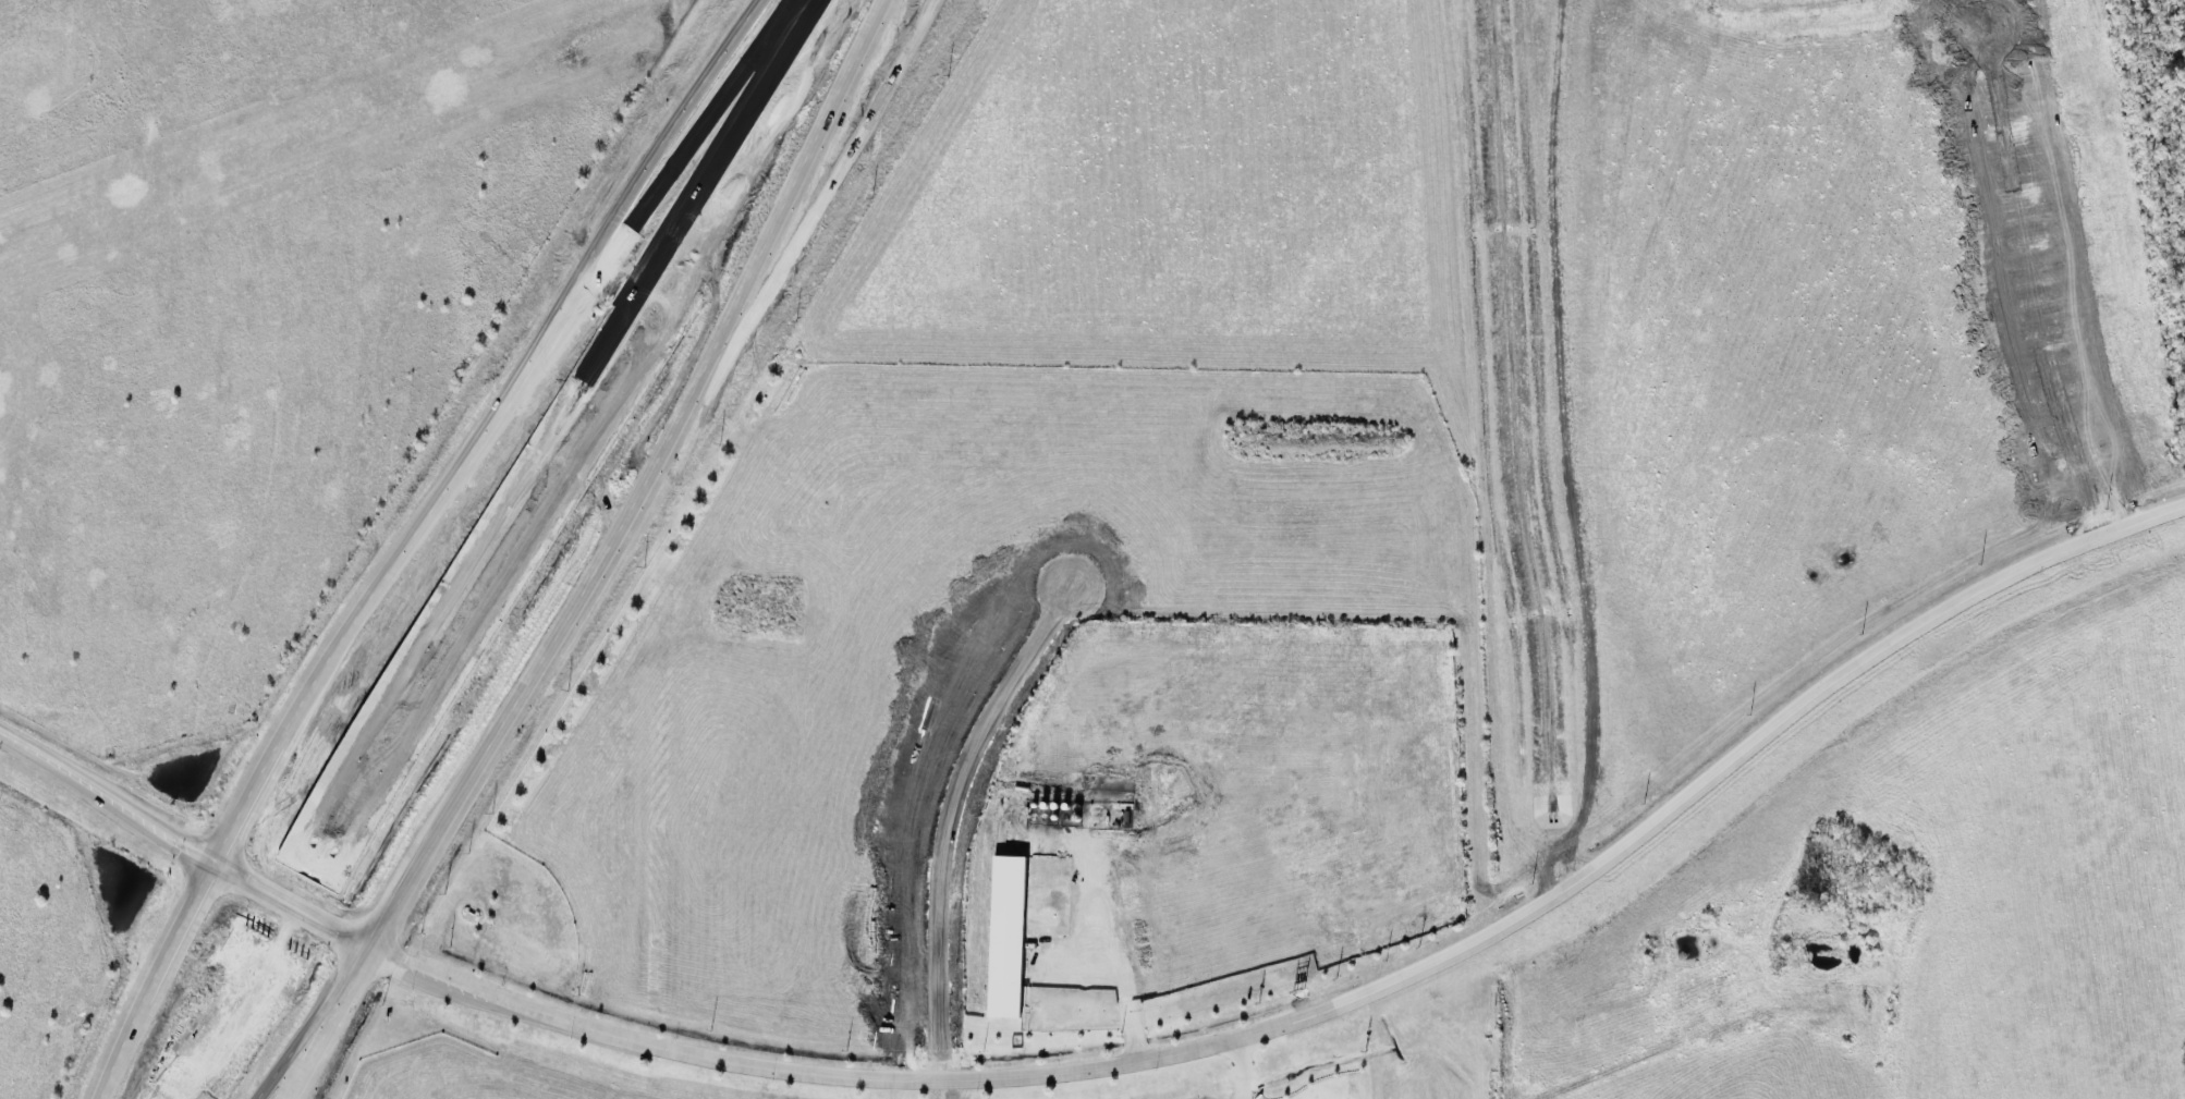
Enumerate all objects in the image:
road: (489, 422)
road: (552, 434)
road: (600, 444)
road: (645, 485)
road: (947, 817)
road: (182, 842)
road: (271, 899)
road: (313, 921)
building: (1005, 936)
road: (149, 977)
road: (1333, 1006)
road: (215, 1014)
road: (328, 1024)
road: (260, 1026)
road: (1242, 1069)

